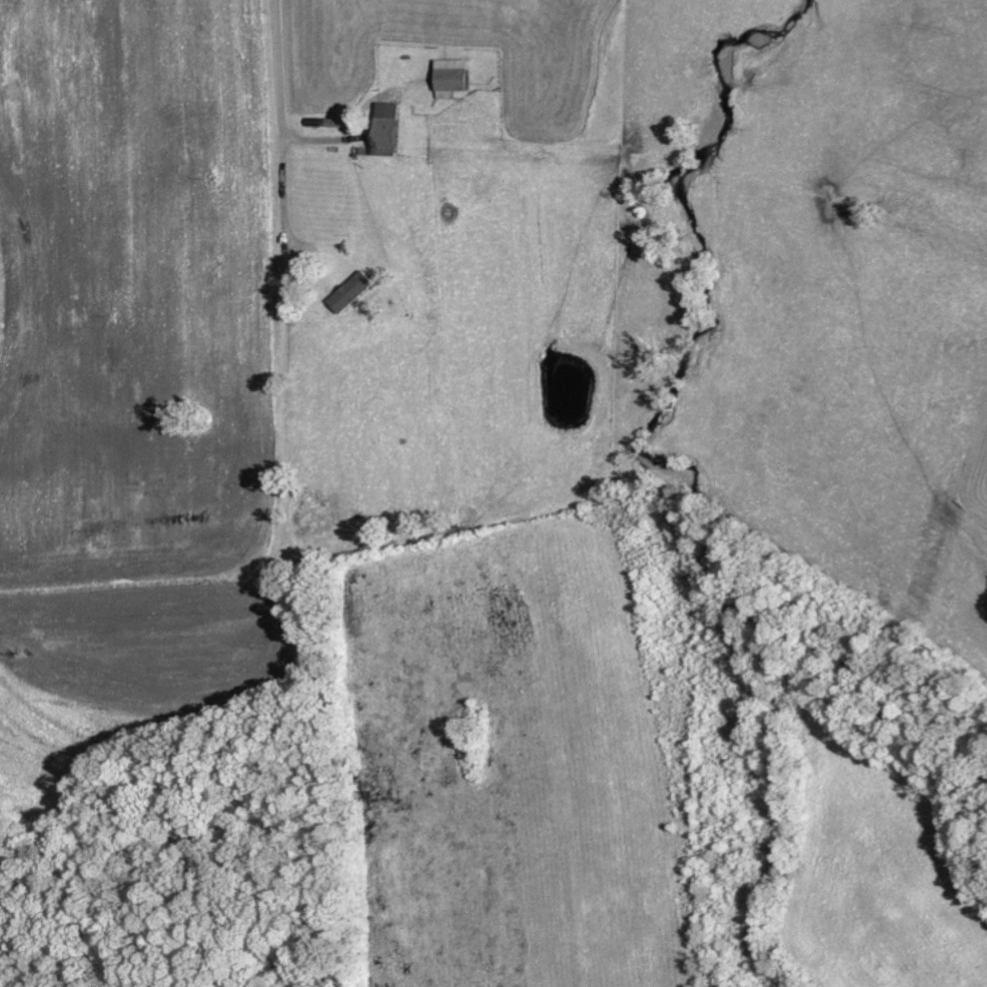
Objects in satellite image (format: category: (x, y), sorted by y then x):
building: (458, 77)
building: (393, 129)
building: (356, 291)

